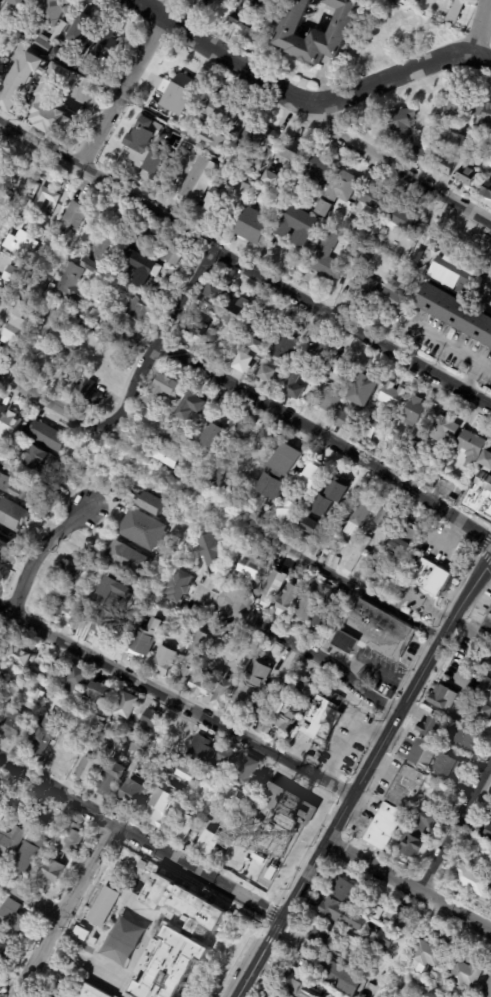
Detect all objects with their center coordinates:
building: (22, 4)
building: (0, 9)
road: (169, 9)
building: (455, 11)
building: (251, 14)
road: (186, 17)
building: (405, 26)
road: (477, 27)
building: (84, 28)
building: (60, 29)
building: (319, 31)
building: (1, 33)
building: (108, 42)
road: (223, 56)
building: (0, 61)
building: (89, 68)
road: (306, 71)
road: (404, 74)
road: (120, 91)
building: (185, 91)
building: (40, 94)
road: (91, 99)
building: (222, 107)
building: (454, 107)
building: (484, 118)
building: (402, 125)
building: (195, 129)
building: (161, 131)
building: (257, 135)
building: (140, 139)
building: (456, 141)
building: (213, 142)
building: (296, 151)
building: (417, 152)
building: (263, 160)
building: (153, 165)
building: (445, 165)
road: (396, 169)
building: (320, 170)
building: (466, 175)
building: (273, 178)
building: (199, 180)
building: (486, 191)
building: (340, 192)
building: (7, 193)
building: (262, 193)
building: (228, 196)
building: (374, 196)
building: (48, 198)
building: (27, 206)
building: (75, 216)
building: (409, 219)
building: (302, 224)
building: (353, 224)
building: (258, 225)
building: (377, 240)
building: (68, 243)
building: (435, 243)
building: (21, 244)
building: (72, 251)
building: (101, 254)
building: (177, 255)
building: (367, 255)
building: (146, 257)
building: (328, 258)
road: (244, 266)
building: (456, 273)
building: (14, 275)
building: (73, 282)
building: (118, 286)
building: (365, 286)
building: (50, 289)
building: (216, 296)
building: (392, 297)
building: (23, 306)
building: (140, 308)
building: (239, 311)
building: (457, 311)
building: (48, 322)
building: (72, 323)
building: (197, 329)
building: (14, 332)
building: (130, 336)
road: (159, 336)
building: (256, 337)
building: (61, 340)
building: (285, 343)
building: (318, 356)
building: (243, 363)
building: (340, 369)
building: (267, 374)
building: (294, 387)
building: (161, 389)
building: (363, 391)
road: (482, 391)
building: (87, 392)
road: (473, 395)
building: (392, 397)
road: (52, 401)
building: (329, 402)
building: (190, 404)
road: (472, 405)
building: (414, 411)
road: (481, 412)
building: (345, 422)
building: (7, 424)
building: (244, 426)
building: (370, 428)
building: (443, 429)
building: (213, 435)
building: (50, 437)
building: (266, 437)
road: (325, 440)
building: (414, 446)
building: (180, 449)
building: (468, 450)
building: (163, 458)
building: (486, 460)
building: (42, 461)
building: (281, 471)
building: (216, 473)
building: (312, 477)
building: (5, 483)
building: (331, 494)
building: (481, 497)
building: (150, 503)
building: (288, 512)
building: (362, 513)
building: (12, 515)
building: (381, 515)
road: (483, 524)
building: (311, 527)
building: (143, 529)
road: (486, 540)
building: (4, 541)
building: (403, 543)
building: (336, 548)
building: (210, 549)
road: (38, 551)
building: (358, 554)
road: (485, 557)
building: (127, 558)
building: (330, 561)
building: (250, 564)
building: (68, 568)
building: (379, 568)
building: (308, 576)
building: (429, 576)
building: (88, 577)
building: (320, 578)
building: (367, 583)
building: (59, 586)
building: (180, 586)
road: (360, 590)
building: (269, 593)
building: (339, 594)
building: (288, 601)
building: (134, 603)
building: (150, 603)
building: (329, 604)
building: (62, 606)
building: (306, 610)
road: (486, 614)
building: (488, 623)
building: (106, 624)
building: (320, 625)
building: (379, 625)
building: (184, 627)
building: (347, 642)
building: (141, 643)
building: (199, 643)
building: (20, 655)
building: (489, 657)
building: (162, 661)
road: (320, 661)
road: (375, 667)
building: (52, 671)
building: (74, 680)
building: (200, 684)
building: (251, 685)
building: (282, 688)
building: (303, 688)
building: (485, 688)
building: (222, 693)
building: (36, 695)
building: (95, 695)
building: (443, 697)
road: (175, 700)
building: (308, 703)
building: (125, 706)
building: (62, 709)
building: (99, 710)
building: (484, 711)
building: (287, 714)
building: (150, 719)
building: (320, 720)
building: (12, 725)
building: (430, 726)
building: (267, 728)
building: (98, 729)
building: (41, 735)
building: (112, 735)
road: (346, 735)
building: (460, 738)
building: (139, 747)
building: (200, 750)
road: (308, 750)
building: (226, 755)
building: (422, 755)
building: (61, 756)
building: (448, 767)
building: (87, 768)
building: (192, 773)
building: (246, 773)
building: (206, 776)
road: (362, 777)
building: (110, 779)
building: (1, 786)
building: (404, 788)
road: (57, 794)
building: (134, 794)
building: (290, 805)
building: (159, 809)
building: (4, 813)
building: (37, 819)
building: (382, 826)
building: (182, 827)
road: (454, 828)
building: (488, 831)
building: (418, 834)
building: (48, 839)
building: (70, 839)
building: (10, 841)
building: (206, 843)
building: (26, 855)
building: (142, 865)
building: (51, 872)
road: (197, 876)
building: (472, 881)
road: (407, 888)
building: (347, 891)
road: (33, 894)
building: (385, 898)
building: (393, 901)
building: (103, 906)
building: (376, 911)
road: (66, 912)
building: (342, 913)
building: (12, 918)
building: (399, 919)
building: (81, 932)
building: (321, 937)
building: (172, 938)
building: (385, 939)
building: (93, 941)
road: (404, 949)
building: (5, 950)
building: (430, 952)
building: (470, 971)
building: (336, 975)
building: (294, 984)
building: (487, 990)
building: (83, 991)
building: (473, 994)
building: (276, 996)

